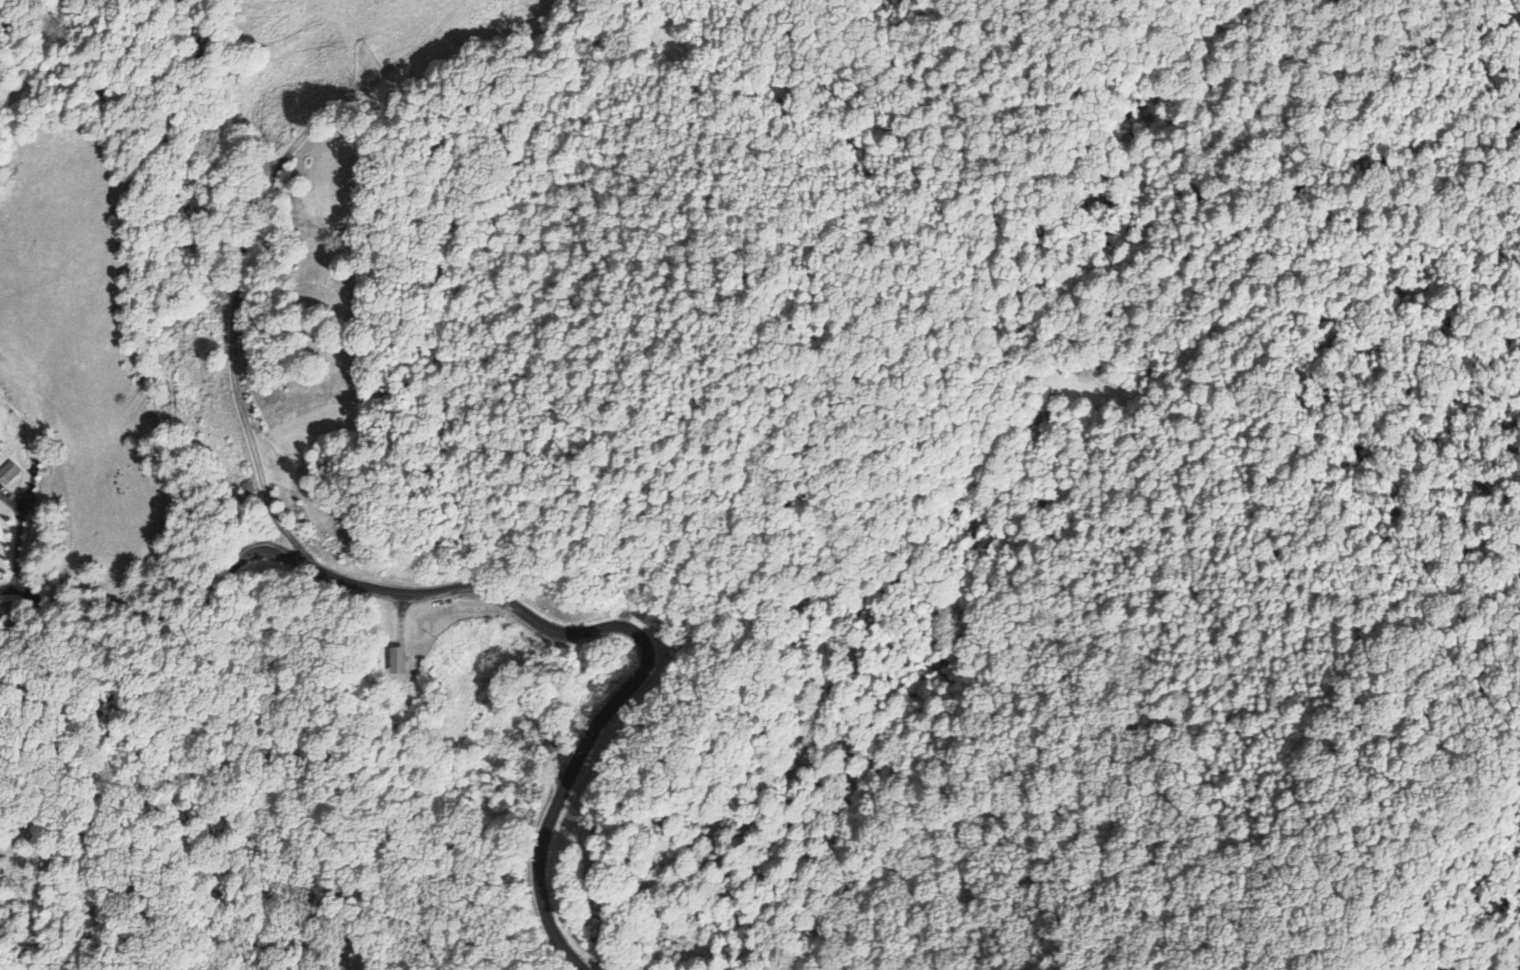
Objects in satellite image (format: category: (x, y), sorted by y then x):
road: (247, 220)
building: (7, 471)
road: (15, 547)
road: (495, 592)
road: (162, 637)
building: (557, 742)
road: (542, 842)

